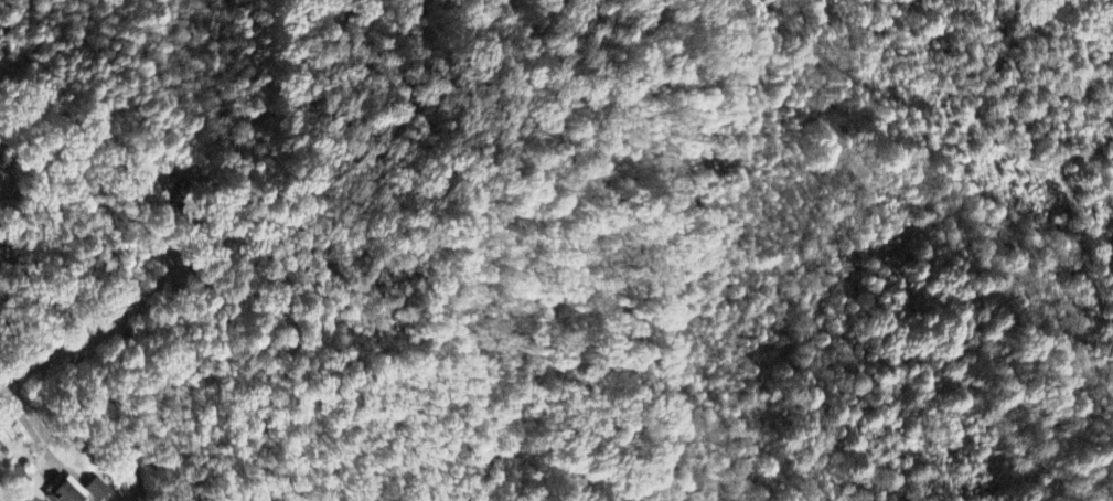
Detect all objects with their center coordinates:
building: (172, 191)
road: (100, 343)
building: (96, 490)
building: (66, 492)

